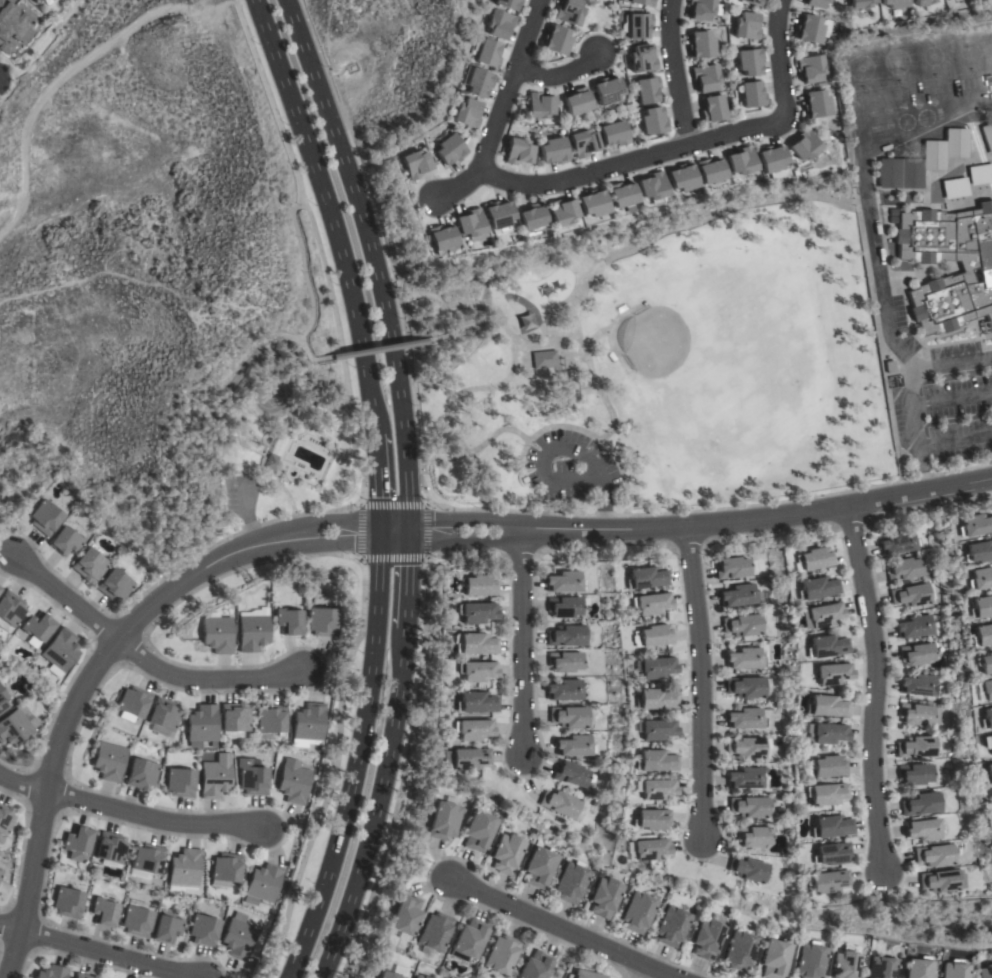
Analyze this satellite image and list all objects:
building: (32, 0)
building: (36, 1)
building: (642, 2)
building: (752, 2)
building: (922, 2)
building: (815, 3)
building: (859, 3)
building: (894, 3)
building: (508, 4)
building: (700, 9)
building: (569, 12)
building: (498, 24)
building: (13, 25)
building: (638, 26)
building: (745, 26)
building: (808, 30)
building: (556, 41)
building: (700, 45)
building: (487, 54)
building: (641, 59)
building: (749, 61)
building: (810, 68)
road: (674, 72)
road: (561, 74)
building: (705, 78)
building: (477, 82)
building: (606, 90)
building: (645, 90)
building: (751, 94)
building: (577, 101)
building: (815, 104)
building: (539, 106)
road: (500, 109)
building: (712, 109)
building: (466, 113)
building: (652, 121)
building: (613, 133)
building: (987, 136)
building: (583, 143)
road: (687, 145)
building: (804, 145)
building: (449, 149)
building: (553, 151)
building: (518, 152)
building: (771, 159)
building: (741, 160)
building: (922, 161)
building: (414, 164)
building: (709, 170)
building: (980, 174)
building: (681, 177)
building: (652, 187)
building: (955, 188)
building: (621, 194)
building: (592, 203)
road: (328, 212)
building: (560, 212)
building: (497, 215)
building: (531, 217)
building: (470, 225)
road: (659, 233)
building: (440, 238)
road: (317, 248)
building: (985, 269)
road: (301, 271)
road: (879, 285)
road: (552, 309)
road: (461, 328)
road: (376, 349)
road: (512, 351)
building: (543, 359)
park: (654, 359)
road: (597, 390)
building: (565, 392)
road: (909, 393)
road: (951, 398)
road: (221, 401)
road: (590, 436)
road: (954, 441)
road: (476, 448)
building: (270, 462)
road: (377, 482)
road: (405, 486)
road: (448, 510)
road: (246, 514)
building: (44, 518)
road: (687, 524)
building: (974, 525)
traffic signals: (379, 532)
traffic signals: (405, 533)
road: (227, 537)
building: (66, 541)
building: (899, 543)
building: (978, 551)
road: (424, 558)
building: (815, 559)
building: (89, 564)
building: (732, 568)
building: (903, 569)
building: (645, 578)
building: (979, 579)
building: (564, 582)
building: (114, 585)
building: (478, 585)
building: (0, 589)
building: (816, 589)
building: (910, 595)
building: (739, 596)
building: (650, 603)
building: (564, 607)
building: (980, 607)
building: (10, 609)
building: (476, 613)
building: (821, 615)
building: (288, 622)
building: (321, 622)
building: (742, 625)
building: (38, 626)
building: (914, 627)
building: (252, 633)
building: (217, 635)
building: (981, 635)
building: (565, 636)
building: (655, 636)
road: (520, 642)
building: (477, 644)
building: (826, 646)
building: (60, 650)
building: (917, 654)
road: (142, 658)
building: (745, 659)
building: (565, 662)
building: (984, 663)
road: (96, 665)
building: (0, 667)
building: (656, 668)
building: (476, 671)
building: (832, 673)
road: (698, 683)
building: (918, 685)
road: (873, 686)
building: (745, 687)
building: (986, 689)
building: (564, 690)
building: (656, 699)
building: (2, 700)
building: (133, 702)
building: (476, 703)
building: (826, 706)
building: (164, 714)
building: (919, 714)
building: (568, 717)
building: (270, 719)
building: (745, 719)
building: (986, 719)
building: (235, 720)
building: (307, 724)
building: (202, 726)
building: (16, 727)
building: (657, 729)
building: (472, 730)
building: (825, 733)
building: (989, 743)
building: (574, 746)
building: (745, 747)
building: (916, 747)
road: (356, 759)
building: (465, 759)
building: (108, 761)
building: (655, 761)
building: (828, 766)
road: (331, 771)
building: (141, 774)
building: (570, 774)
building: (915, 774)
building: (987, 774)
building: (215, 776)
building: (745, 778)
building: (253, 781)
building: (180, 782)
building: (293, 782)
building: (657, 789)
building: (826, 794)
building: (560, 803)
building: (921, 804)
building: (749, 807)
road: (128, 813)
building: (5, 819)
building: (442, 819)
building: (651, 819)
building: (831, 827)
building: (922, 829)
building: (477, 831)
building: (753, 836)
building: (77, 843)
building: (110, 848)
building: (650, 849)
building: (832, 853)
building: (505, 854)
building: (935, 855)
building: (147, 859)
building: (538, 867)
building: (184, 868)
building: (225, 869)
building: (747, 869)
building: (1, 873)
building: (942, 880)
building: (828, 881)
building: (570, 882)
building: (262, 884)
building: (604, 897)
building: (67, 903)
building: (104, 912)
building: (636, 912)
building: (404, 915)
building: (136, 921)
building: (670, 927)
building: (167, 929)
road: (561, 929)
building: (203, 930)
building: (434, 932)
building: (238, 939)
building: (705, 939)
building: (468, 940)
building: (738, 950)
road: (97, 952)
building: (500, 955)
building: (773, 959)
building: (808, 960)
building: (843, 964)
building: (535, 966)
building: (879, 967)
building: (916, 968)
building: (952, 969)
building: (984, 971)
building: (52, 972)
road: (642, 973)
building: (388, 974)
building: (583, 975)
building: (83, 976)
building: (418, 977)

